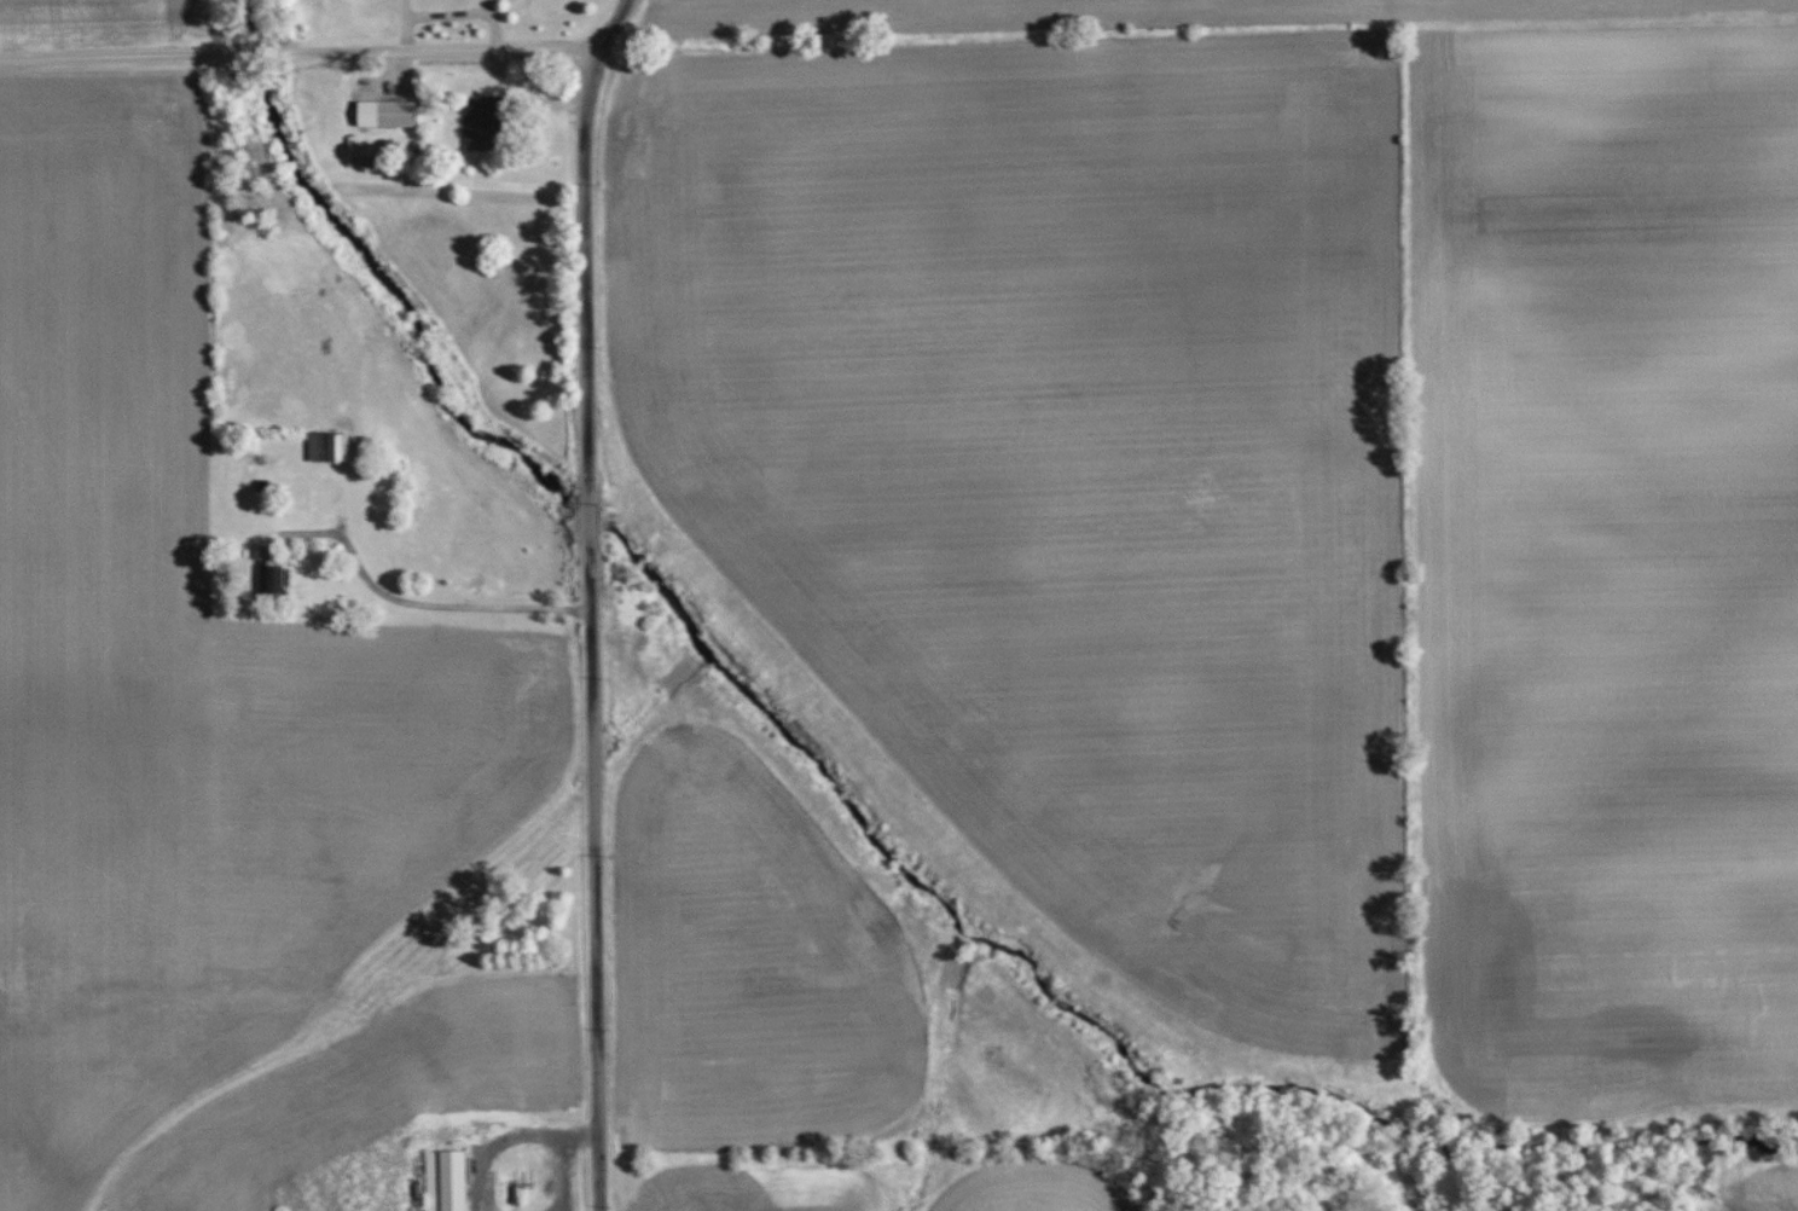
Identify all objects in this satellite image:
road: (459, 15)
road: (405, 23)
road: (297, 47)
building: (396, 114)
building: (485, 122)
building: (329, 447)
building: (278, 580)
road: (590, 601)
road: (464, 607)
road: (569, 1160)
building: (446, 1178)

